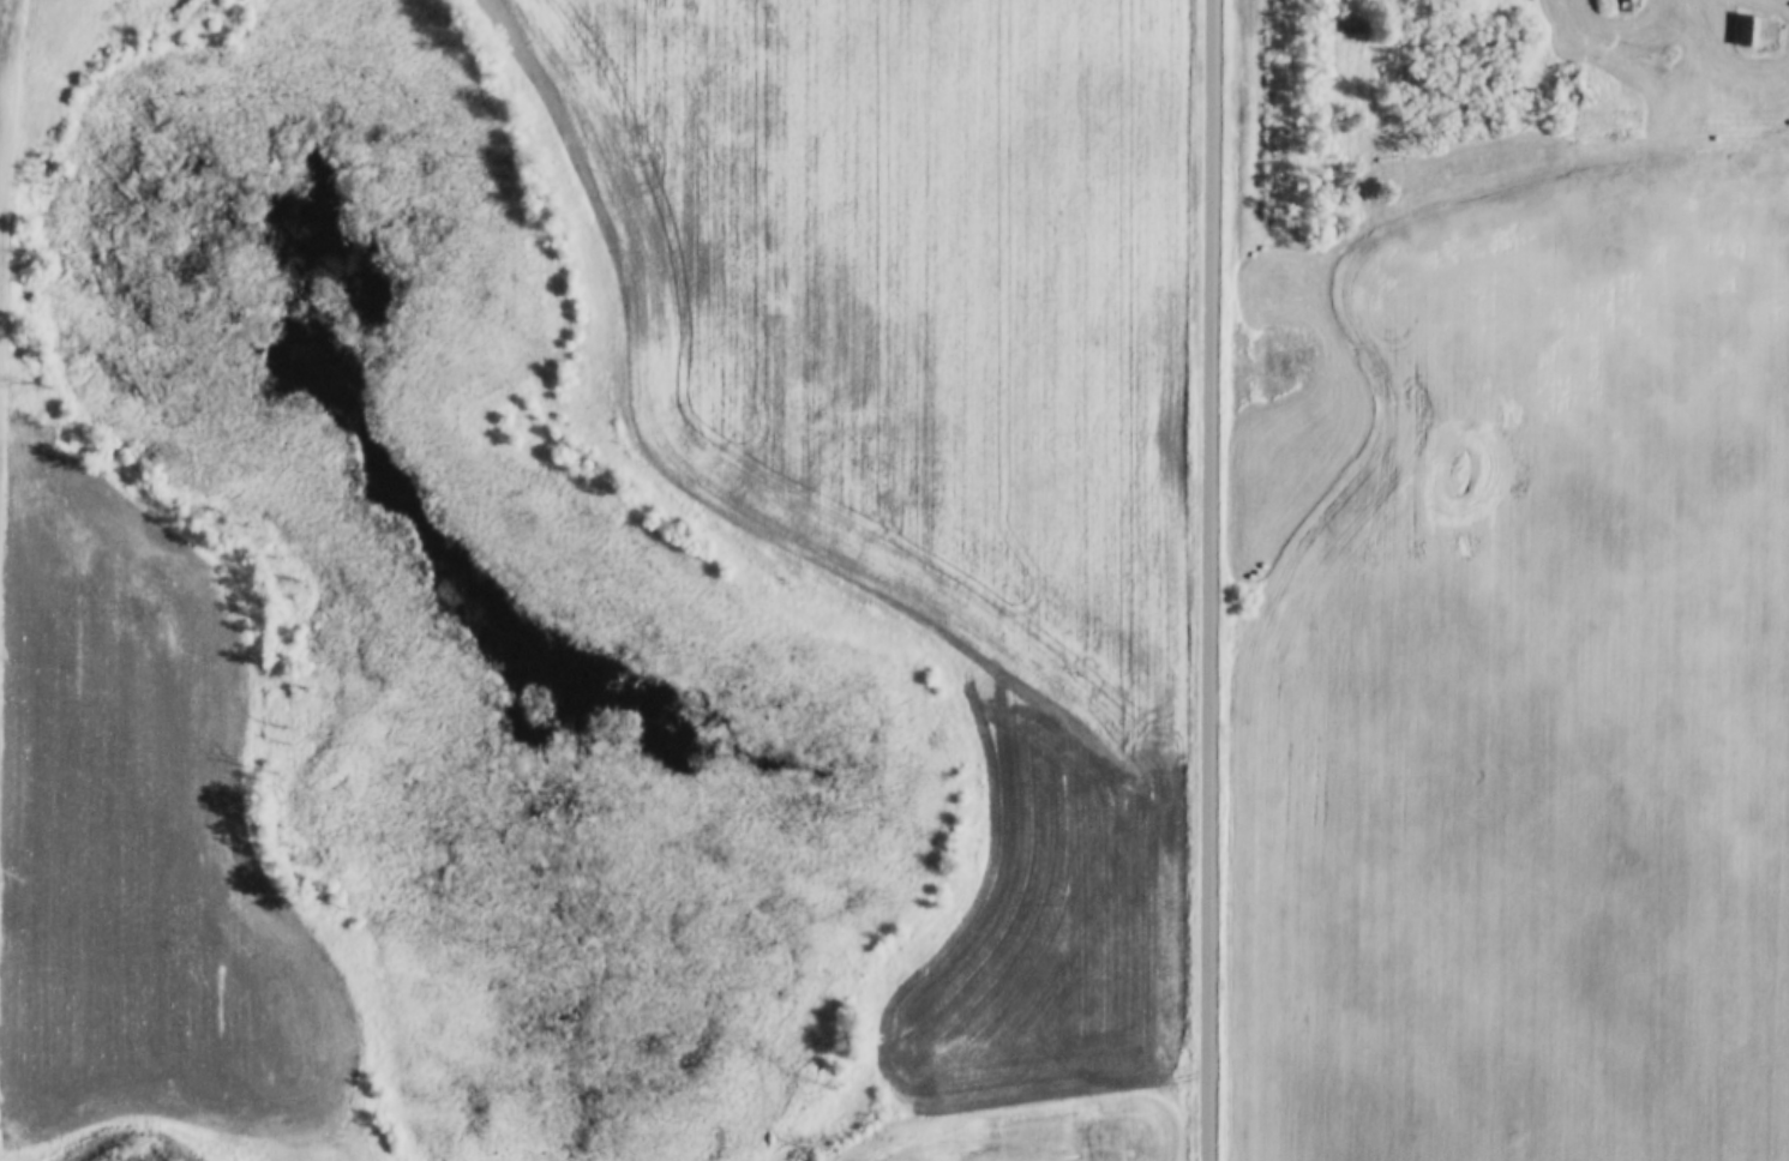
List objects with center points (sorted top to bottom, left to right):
building: (1623, 5)
building: (1753, 34)
road: (1736, 50)
road: (1214, 580)

